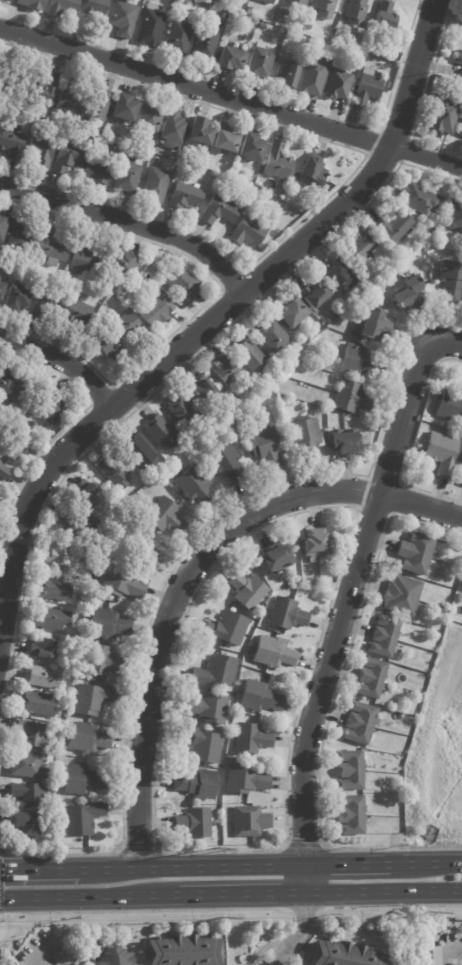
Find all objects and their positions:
building: (193, 0)
building: (6, 1)
building: (265, 2)
building: (296, 3)
building: (30, 5)
building: (152, 7)
building: (61, 8)
building: (323, 9)
building: (93, 11)
building: (250, 11)
building: (355, 12)
building: (285, 13)
building: (223, 15)
building: (122, 19)
building: (382, 19)
building: (282, 21)
building: (308, 27)
building: (150, 29)
building: (288, 36)
building: (178, 37)
building: (461, 38)
building: (315, 44)
building: (204, 45)
building: (458, 58)
building: (227, 60)
building: (259, 63)
building: (461, 74)
building: (313, 75)
building: (282, 77)
building: (386, 85)
building: (336, 86)
building: (49, 89)
building: (367, 90)
building: (70, 97)
road: (231, 98)
building: (100, 107)
building: (140, 112)
building: (443, 115)
building: (45, 123)
building: (1, 127)
building: (20, 128)
building: (459, 128)
building: (175, 130)
building: (203, 132)
building: (0, 136)
building: (229, 140)
building: (13, 144)
building: (154, 145)
building: (255, 148)
building: (41, 150)
building: (70, 157)
building: (279, 162)
building: (316, 170)
building: (97, 173)
building: (212, 174)
building: (296, 176)
building: (128, 177)
building: (429, 181)
building: (157, 184)
building: (188, 195)
building: (419, 200)
building: (0, 211)
building: (222, 211)
building: (454, 217)
road: (130, 221)
building: (4, 226)
building: (391, 227)
building: (250, 232)
building: (22, 236)
building: (52, 246)
building: (360, 246)
building: (88, 261)
building: (128, 264)
building: (338, 277)
building: (451, 281)
building: (184, 283)
building: (4, 289)
building: (312, 293)
building: (408, 293)
building: (21, 297)
building: (47, 303)
building: (79, 311)
building: (160, 312)
building: (289, 313)
road: (216, 314)
building: (131, 324)
building: (372, 326)
building: (271, 335)
building: (108, 347)
building: (246, 354)
road: (62, 361)
building: (358, 361)
building: (224, 371)
building: (7, 383)
building: (200, 387)
building: (25, 396)
building: (350, 397)
building: (302, 406)
building: (450, 407)
building: (55, 409)
building: (180, 411)
building: (35, 425)
building: (160, 432)
building: (304, 439)
building: (344, 443)
building: (17, 447)
building: (266, 447)
building: (138, 451)
building: (441, 453)
building: (226, 461)
building: (461, 461)
building: (112, 472)
building: (5, 475)
building: (191, 484)
building: (461, 484)
building: (83, 490)
building: (164, 516)
building: (74, 520)
building: (316, 546)
building: (415, 553)
building: (57, 555)
building: (276, 559)
road: (189, 571)
road: (353, 578)
building: (122, 585)
building: (461, 588)
building: (55, 590)
building: (246, 591)
building: (401, 596)
building: (286, 615)
building: (51, 619)
building: (107, 625)
building: (226, 629)
building: (384, 636)
building: (40, 649)
building: (273, 654)
building: (102, 662)
building: (214, 672)
building: (41, 677)
building: (370, 679)
building: (259, 698)
building: (93, 699)
building: (35, 705)
building: (207, 709)
building: (359, 724)
building: (31, 735)
building: (86, 739)
building: (251, 739)
building: (201, 745)
building: (26, 766)
building: (349, 771)
building: (246, 780)
building: (81, 781)
building: (196, 784)
building: (25, 795)
building: (50, 804)
building: (350, 816)
building: (82, 819)
building: (250, 821)
building: (192, 823)
building: (25, 824)
power tower: (213, 847)
road: (424, 862)
road: (344, 863)
road: (188, 865)
road: (37, 867)
road: (301, 879)
road: (381, 893)
road: (238, 894)
road: (88, 895)
power tower: (426, 911)
power tower: (221, 916)
road: (295, 934)
building: (181, 950)
building: (342, 955)
building: (434, 955)
building: (114, 957)
road: (453, 957)
road: (273, 962)

